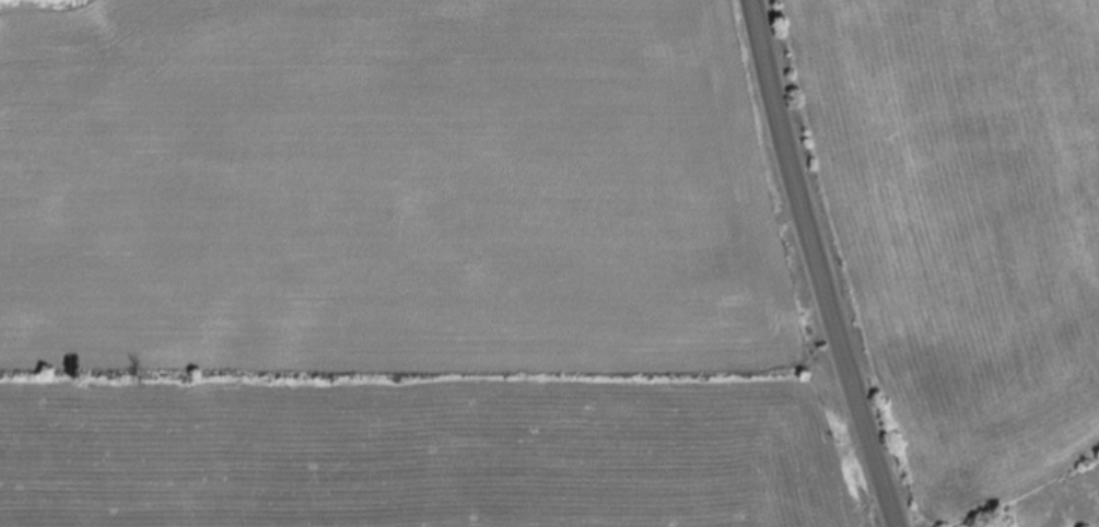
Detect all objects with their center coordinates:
road: (821, 265)

